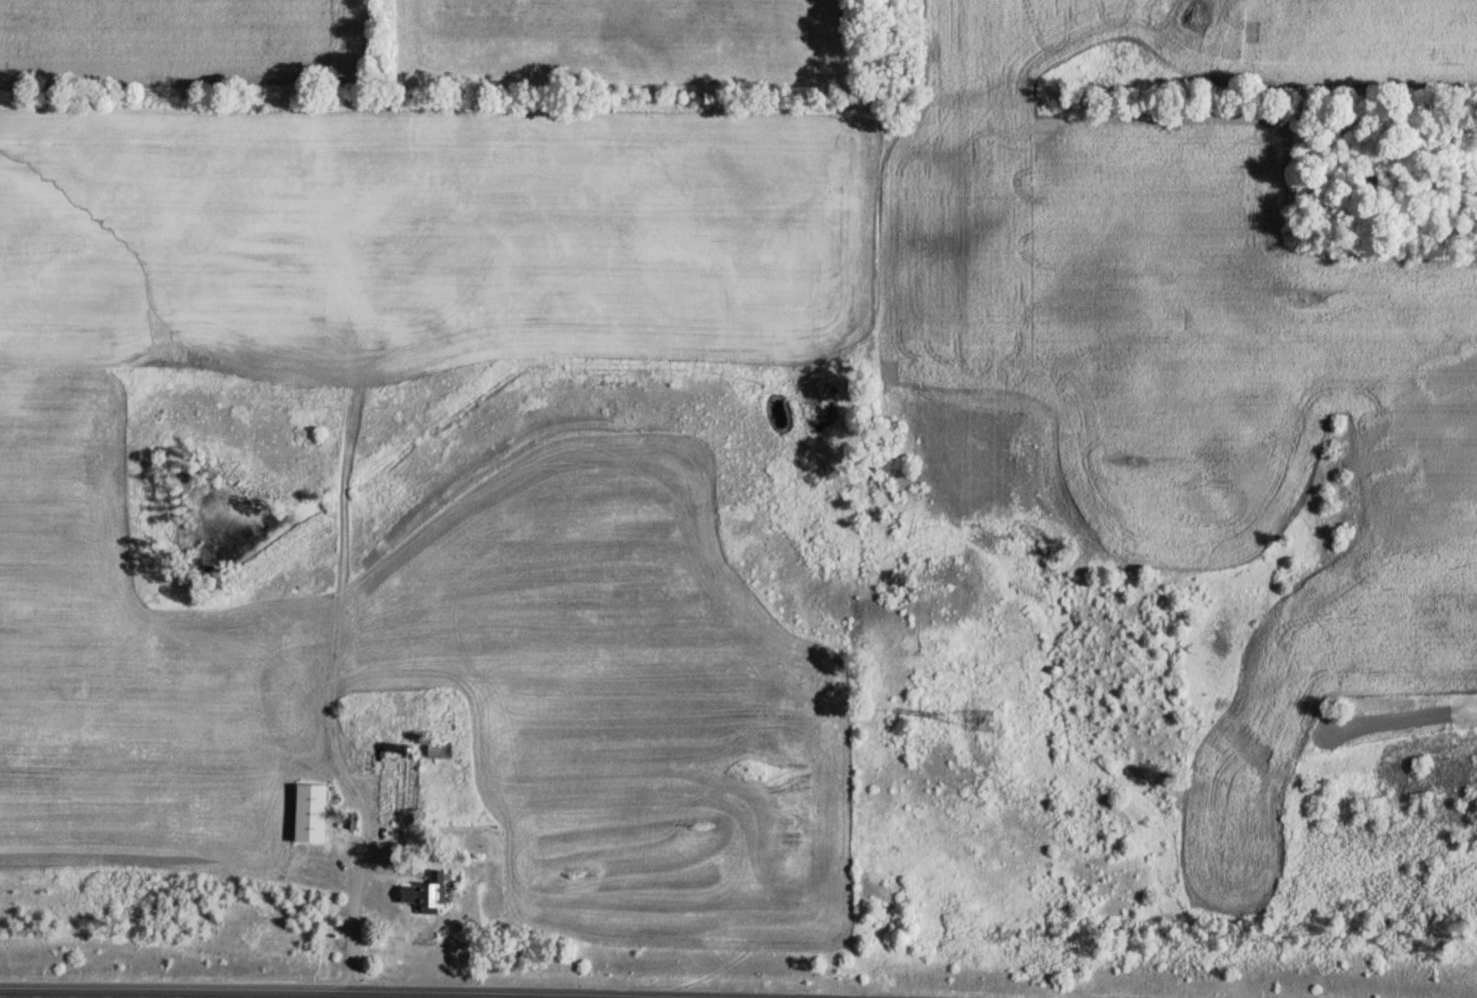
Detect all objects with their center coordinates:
power tower: (982, 718)
building: (436, 750)
building: (380, 775)
building: (306, 813)
building: (429, 892)
road: (355, 928)
road: (202, 997)

